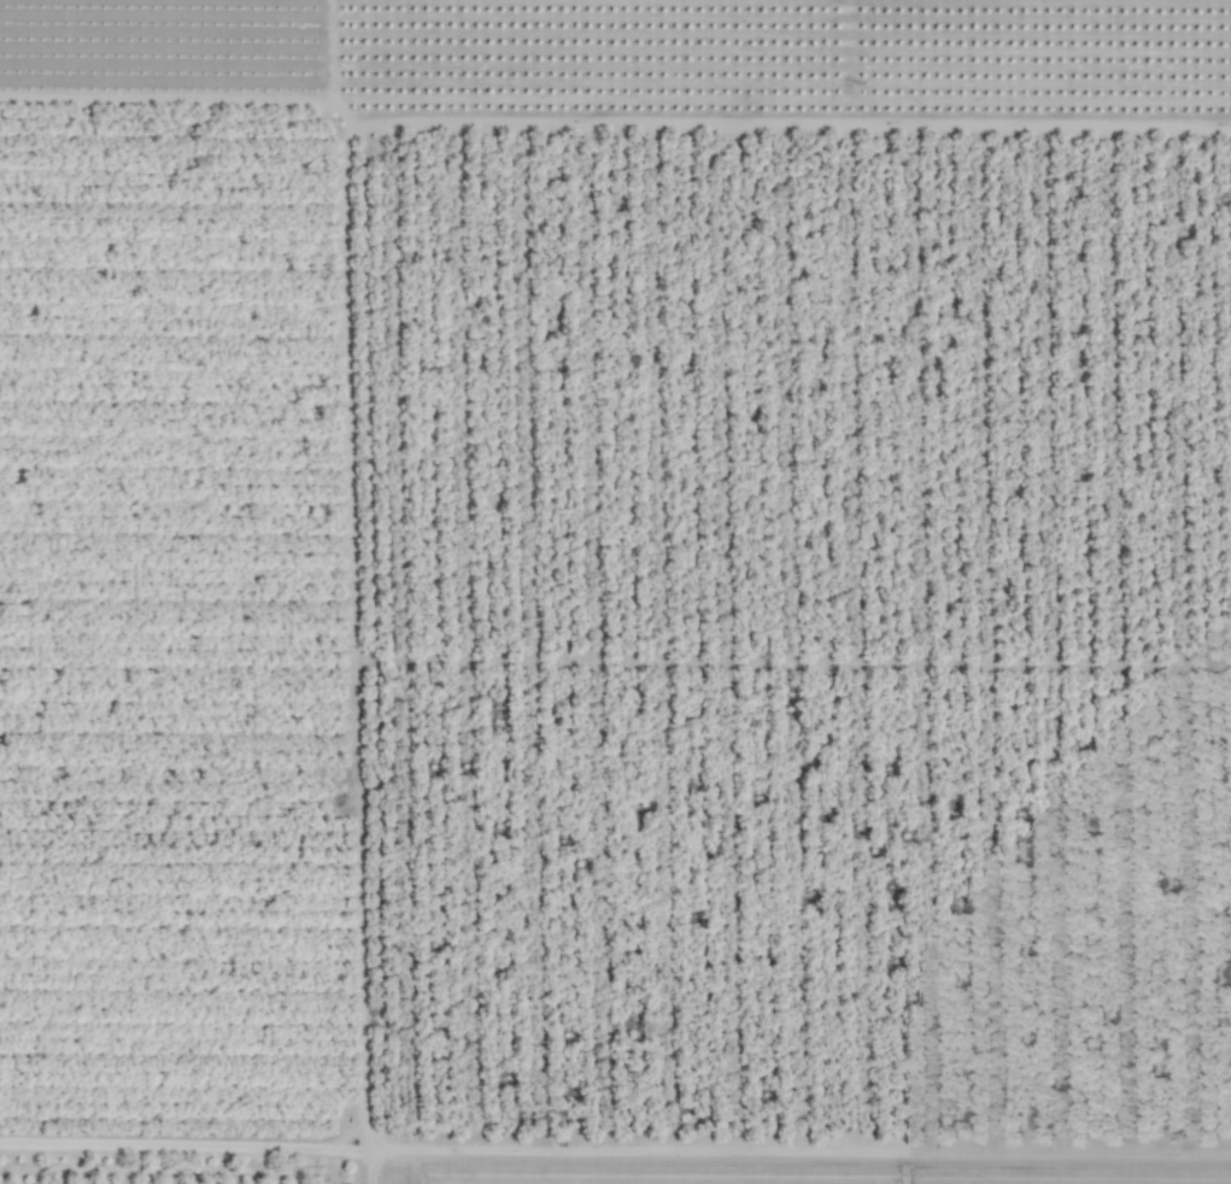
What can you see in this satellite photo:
road: (348, 221)
road: (187, 1149)

